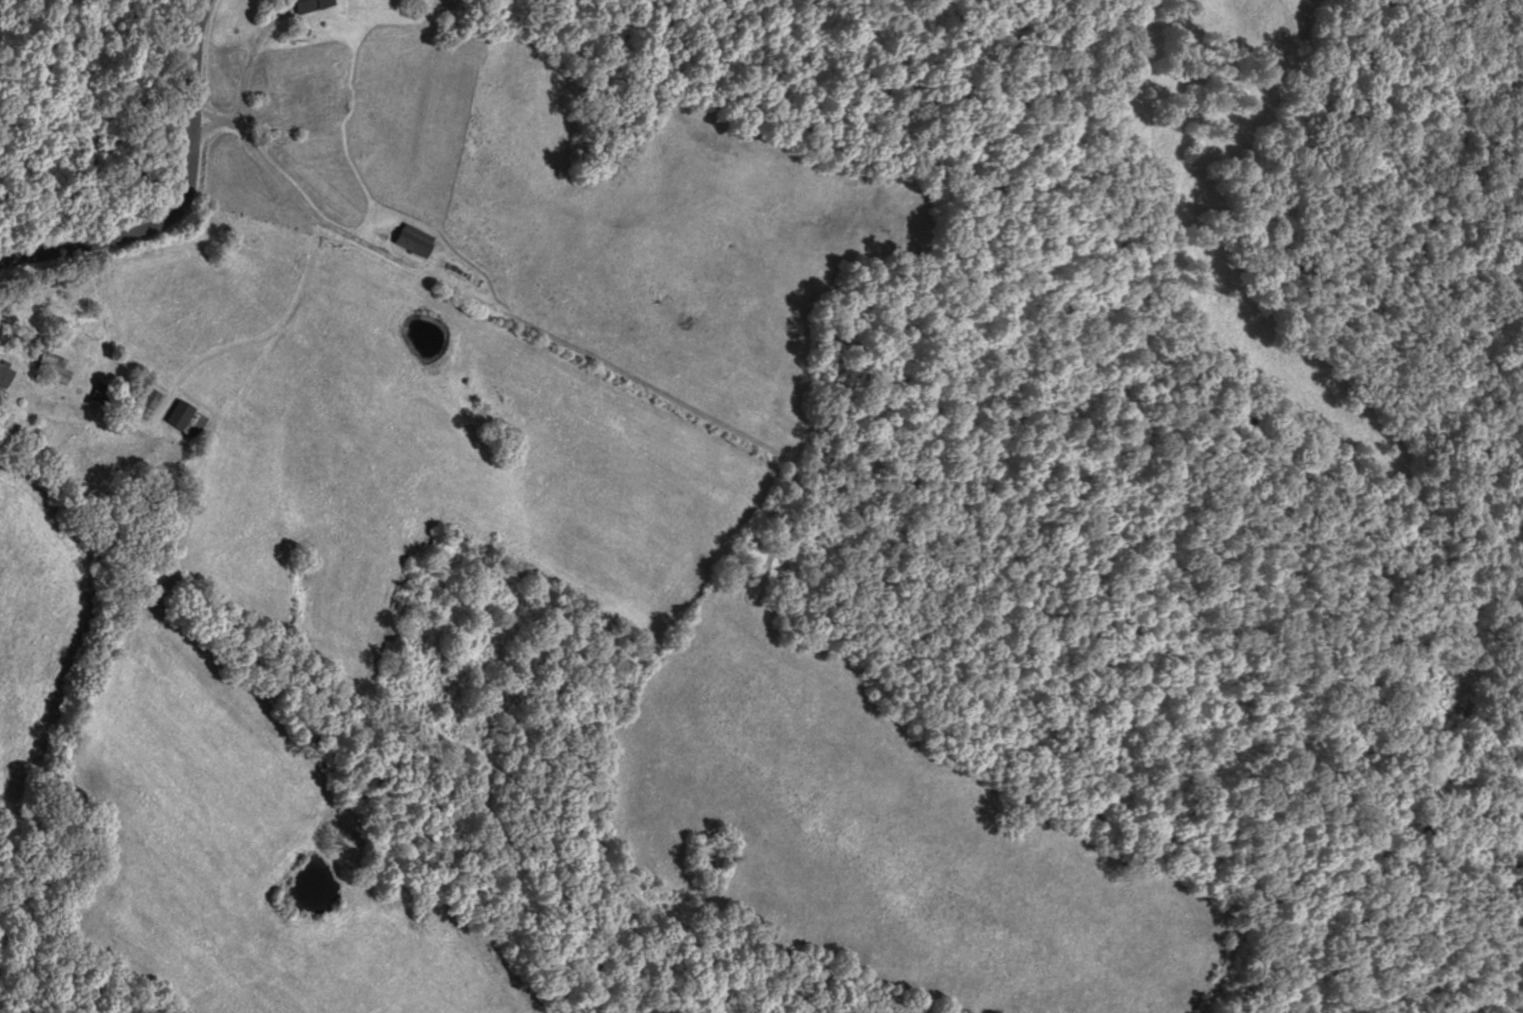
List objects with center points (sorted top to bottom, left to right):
building: (311, 5)
building: (299, 104)
road: (169, 192)
building: (415, 239)
building: (52, 367)
building: (4, 375)
building: (146, 403)
building: (186, 418)

